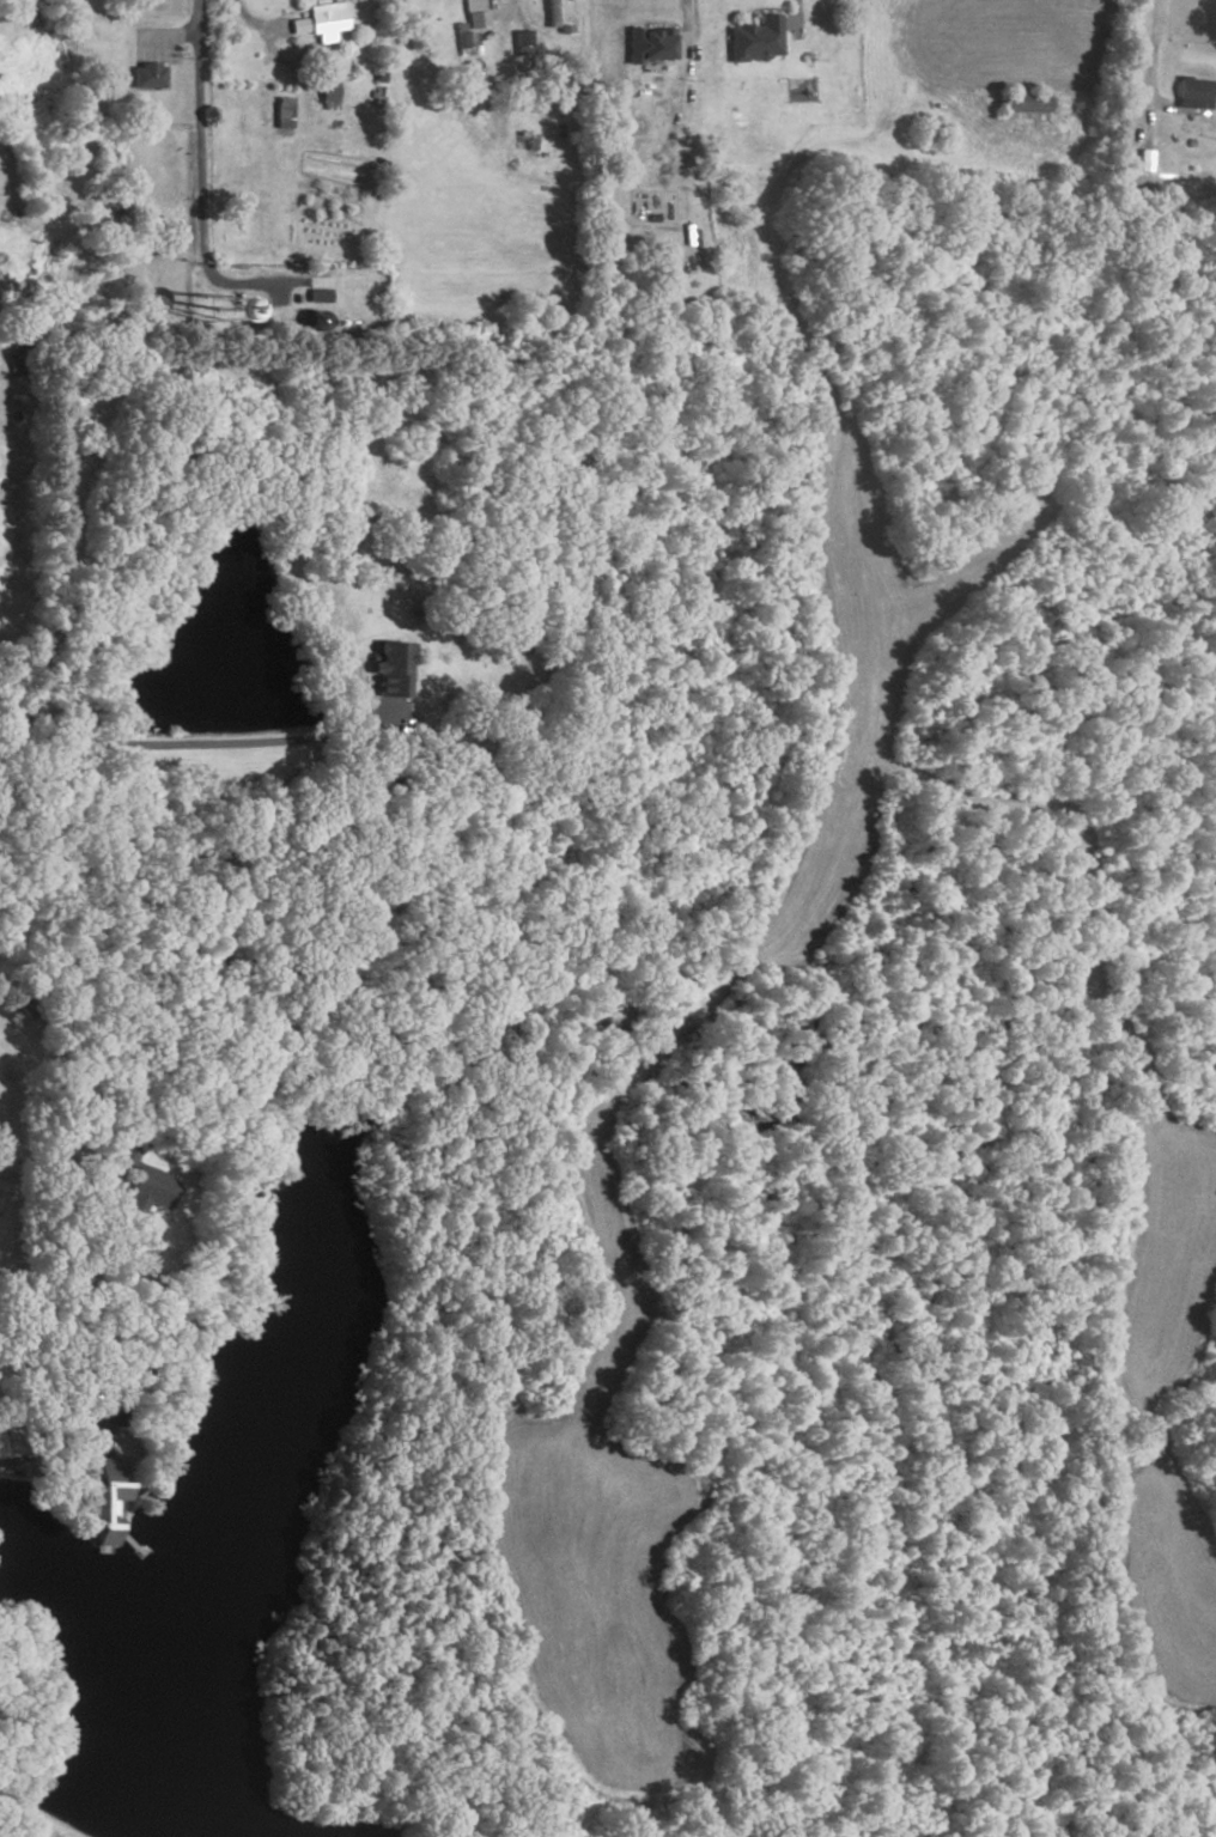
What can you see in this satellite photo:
road: (510, 10)
building: (475, 14)
building: (563, 14)
road: (795, 16)
building: (324, 18)
road: (686, 22)
building: (298, 24)
road: (168, 38)
building: (522, 39)
building: (755, 42)
building: (646, 44)
road: (1154, 44)
building: (466, 45)
road: (278, 60)
building: (147, 75)
building: (1192, 90)
building: (328, 93)
building: (1025, 102)
building: (281, 112)
road: (197, 157)
building: (318, 294)
building: (218, 300)
water tower: (196, 314)
building: (388, 669)
road: (197, 746)
building: (141, 1188)
road: (36, 1190)
crop: (1166, 1265)
road: (72, 1358)
building: (99, 1507)
pier: (129, 1545)

